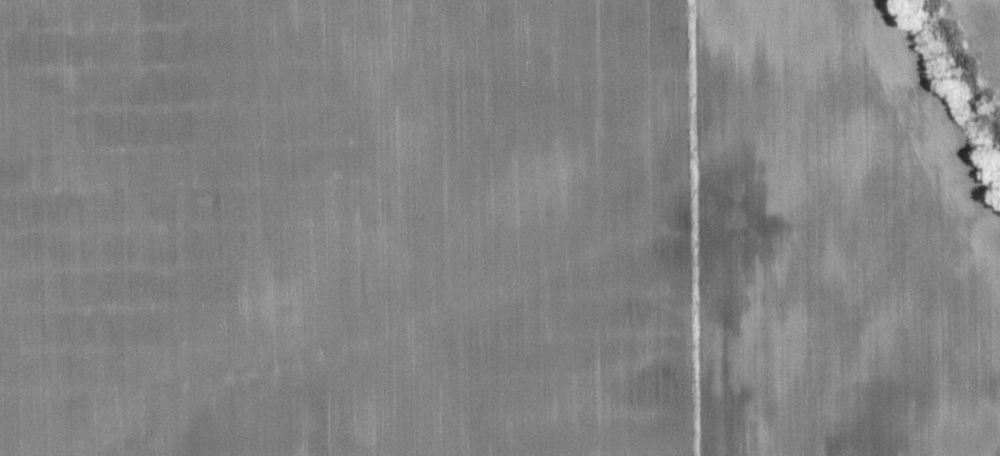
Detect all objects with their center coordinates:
park: (970, 64)

